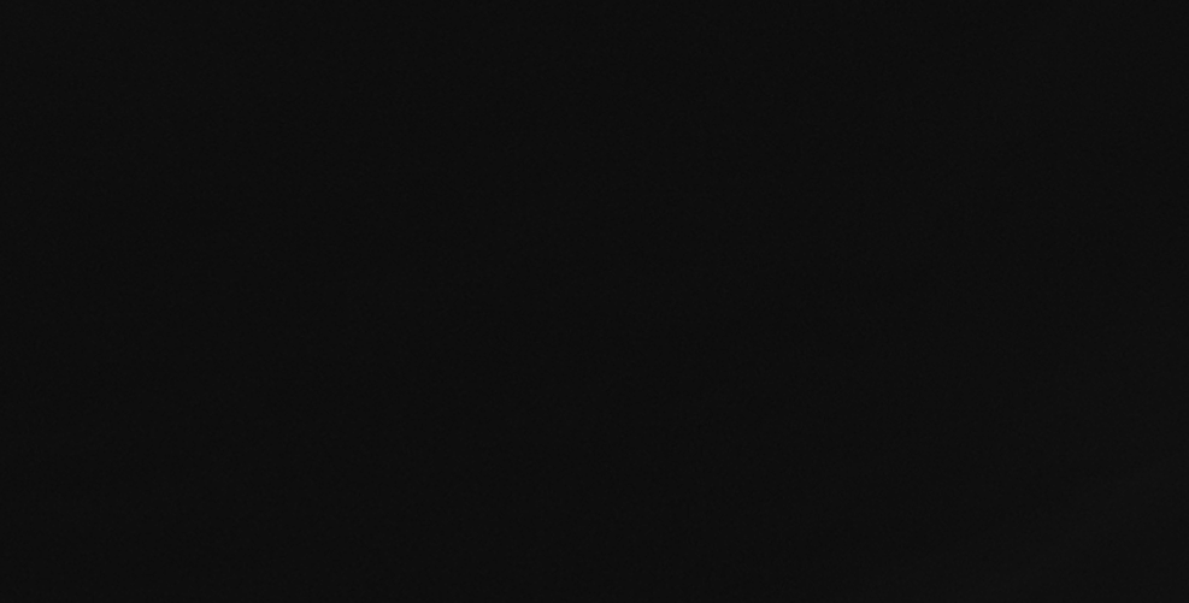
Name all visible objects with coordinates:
river: (1050, 292)

